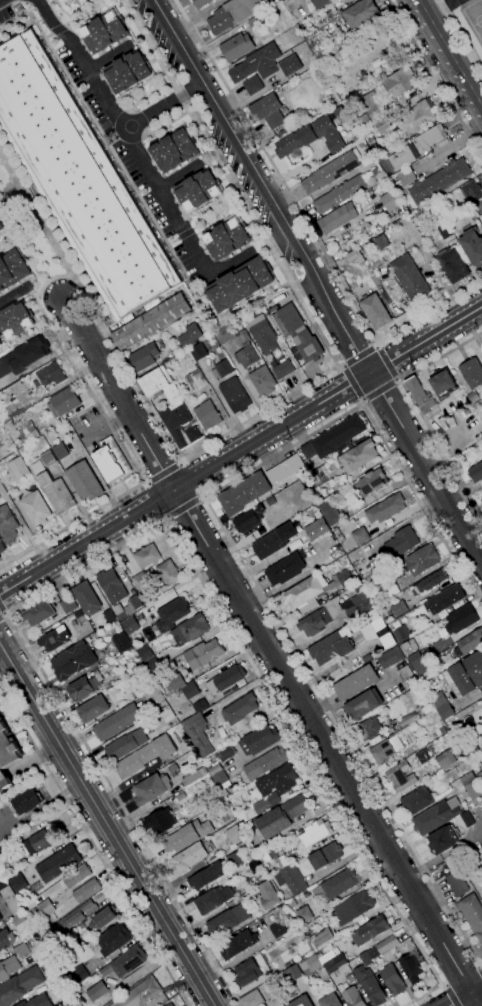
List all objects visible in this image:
road: (0, 0)
building: (63, 1)
building: (65, 1)
building: (200, 3)
building: (321, 3)
road: (430, 4)
building: (297, 9)
road: (62, 11)
road: (84, 13)
building: (234, 14)
building: (360, 14)
park: (474, 18)
building: (253, 21)
road: (58, 30)
building: (105, 32)
road: (48, 36)
road: (460, 36)
building: (236, 47)
road: (449, 55)
road: (107, 57)
building: (376, 62)
building: (257, 64)
building: (289, 65)
road: (441, 69)
building: (128, 72)
building: (374, 76)
road: (435, 78)
building: (400, 82)
building: (253, 85)
building: (373, 103)
road: (162, 108)
building: (268, 111)
building: (417, 118)
building: (363, 119)
building: (382, 126)
building: (283, 132)
building: (328, 134)
road: (102, 135)
building: (431, 136)
building: (295, 141)
building: (174, 151)
road: (137, 152)
building: (403, 157)
road: (274, 170)
building: (330, 172)
building: (380, 176)
road: (177, 177)
building: (407, 177)
building: (79, 181)
road: (231, 181)
building: (370, 181)
building: (439, 181)
road: (260, 186)
building: (197, 190)
building: (472, 192)
building: (339, 194)
building: (389, 201)
road: (216, 214)
road: (35, 215)
building: (0, 218)
building: (338, 218)
building: (479, 218)
building: (1, 227)
road: (19, 231)
building: (445, 231)
road: (184, 234)
building: (227, 239)
road: (172, 242)
building: (381, 242)
building: (472, 247)
building: (354, 256)
building: (452, 265)
building: (13, 269)
building: (409, 277)
building: (240, 284)
road: (15, 294)
road: (481, 305)
road: (429, 310)
building: (375, 311)
building: (15, 320)
building: (151, 322)
building: (278, 324)
building: (224, 334)
building: (300, 334)
road: (107, 335)
building: (264, 337)
building: (186, 340)
building: (0, 344)
road: (375, 344)
building: (198, 352)
building: (246, 355)
building: (24, 356)
road: (440, 356)
building: (144, 357)
road: (359, 357)
road: (384, 364)
road: (340, 366)
building: (222, 369)
building: (283, 369)
building: (472, 373)
building: (50, 375)
building: (195, 380)
road: (396, 380)
building: (263, 381)
building: (35, 383)
road: (352, 383)
building: (442, 383)
building: (160, 385)
building: (17, 389)
road: (377, 389)
building: (234, 395)
building: (419, 395)
building: (455, 396)
building: (471, 397)
road: (361, 401)
building: (63, 402)
building: (8, 413)
building: (207, 415)
building: (448, 419)
building: (0, 424)
building: (179, 426)
building: (27, 433)
building: (333, 438)
building: (462, 440)
road: (440, 450)
building: (59, 451)
road: (240, 451)
building: (358, 455)
building: (47, 458)
building: (111, 460)
building: (18, 468)
road: (425, 468)
building: (284, 470)
building: (476, 472)
road: (192, 480)
building: (373, 481)
building: (84, 482)
building: (53, 489)
building: (244, 494)
building: (481, 500)
road: (151, 502)
road: (421, 505)
building: (35, 508)
building: (386, 509)
road: (185, 510)
building: (329, 513)
building: (247, 519)
building: (7, 525)
road: (70, 525)
building: (316, 529)
road: (141, 534)
building: (360, 536)
building: (274, 541)
building: (403, 541)
building: (1, 547)
building: (146, 556)
building: (0, 558)
building: (422, 559)
building: (287, 569)
building: (168, 573)
building: (345, 578)
building: (140, 581)
building: (430, 582)
building: (111, 586)
building: (390, 589)
building: (303, 593)
building: (86, 598)
building: (444, 600)
building: (135, 603)
building: (68, 605)
road: (4, 609)
building: (399, 609)
building: (118, 610)
building: (335, 611)
building: (39, 612)
building: (172, 614)
building: (109, 616)
road: (4, 619)
building: (461, 619)
building: (127, 625)
building: (191, 628)
building: (377, 630)
building: (400, 633)
building: (54, 639)
building: (121, 643)
building: (468, 643)
building: (332, 647)
building: (408, 647)
road: (270, 652)
road: (294, 652)
building: (143, 653)
building: (203, 654)
building: (390, 658)
building: (73, 661)
building: (150, 664)
building: (418, 664)
building: (404, 674)
building: (465, 674)
building: (226, 681)
building: (174, 683)
building: (356, 683)
building: (84, 687)
building: (183, 694)
building: (200, 705)
building: (363, 705)
building: (442, 706)
building: (92, 709)
building: (240, 709)
building: (116, 722)
building: (403, 722)
building: (367, 729)
building: (458, 730)
building: (197, 735)
building: (259, 740)
building: (125, 745)
building: (468, 748)
building: (385, 749)
building: (226, 754)
building: (7, 755)
building: (422, 756)
building: (144, 757)
building: (445, 759)
building: (264, 763)
building: (173, 770)
building: (217, 775)
building: (193, 776)
building: (400, 777)
building: (479, 777)
building: (467, 779)
building: (277, 781)
building: (151, 789)
building: (473, 789)
building: (179, 797)
building: (417, 801)
building: (26, 802)
road: (41, 807)
building: (256, 810)
building: (282, 816)
building: (434, 818)
building: (467, 819)
building: (160, 822)
road: (107, 824)
building: (315, 833)
building: (234, 835)
building: (187, 836)
building: (443, 839)
building: (37, 842)
building: (243, 845)
road: (93, 847)
building: (271, 852)
building: (192, 856)
building: (325, 856)
building: (234, 859)
building: (257, 862)
building: (58, 864)
building: (77, 876)
building: (207, 876)
building: (289, 876)
building: (17, 883)
building: (339, 883)
building: (456, 884)
building: (2, 885)
building: (86, 891)
building: (267, 895)
building: (213, 899)
building: (11, 901)
building: (291, 904)
building: (353, 907)
building: (45, 908)
building: (303, 915)
building: (472, 915)
building: (73, 918)
building: (102, 919)
building: (1, 920)
building: (18, 920)
building: (228, 920)
building: (277, 929)
building: (373, 929)
building: (321, 938)
building: (6, 939)
building: (113, 939)
building: (237, 945)
building: (387, 945)
building: (21, 950)
building: (365, 959)
building: (129, 961)
road: (480, 962)
building: (335, 963)
road: (477, 965)
building: (8, 968)
building: (410, 969)
building: (104, 970)
road: (479, 971)
building: (291, 972)
building: (247, 973)
building: (79, 974)
building: (392, 980)
road: (442, 984)
building: (369, 985)
building: (20, 986)
building: (95, 991)
building: (139, 994)
building: (350, 996)
road: (449, 996)
road: (467, 996)
building: (251, 999)
building: (37, 1001)
building: (301, 1001)
building: (330, 1001)
building: (168, 1005)

